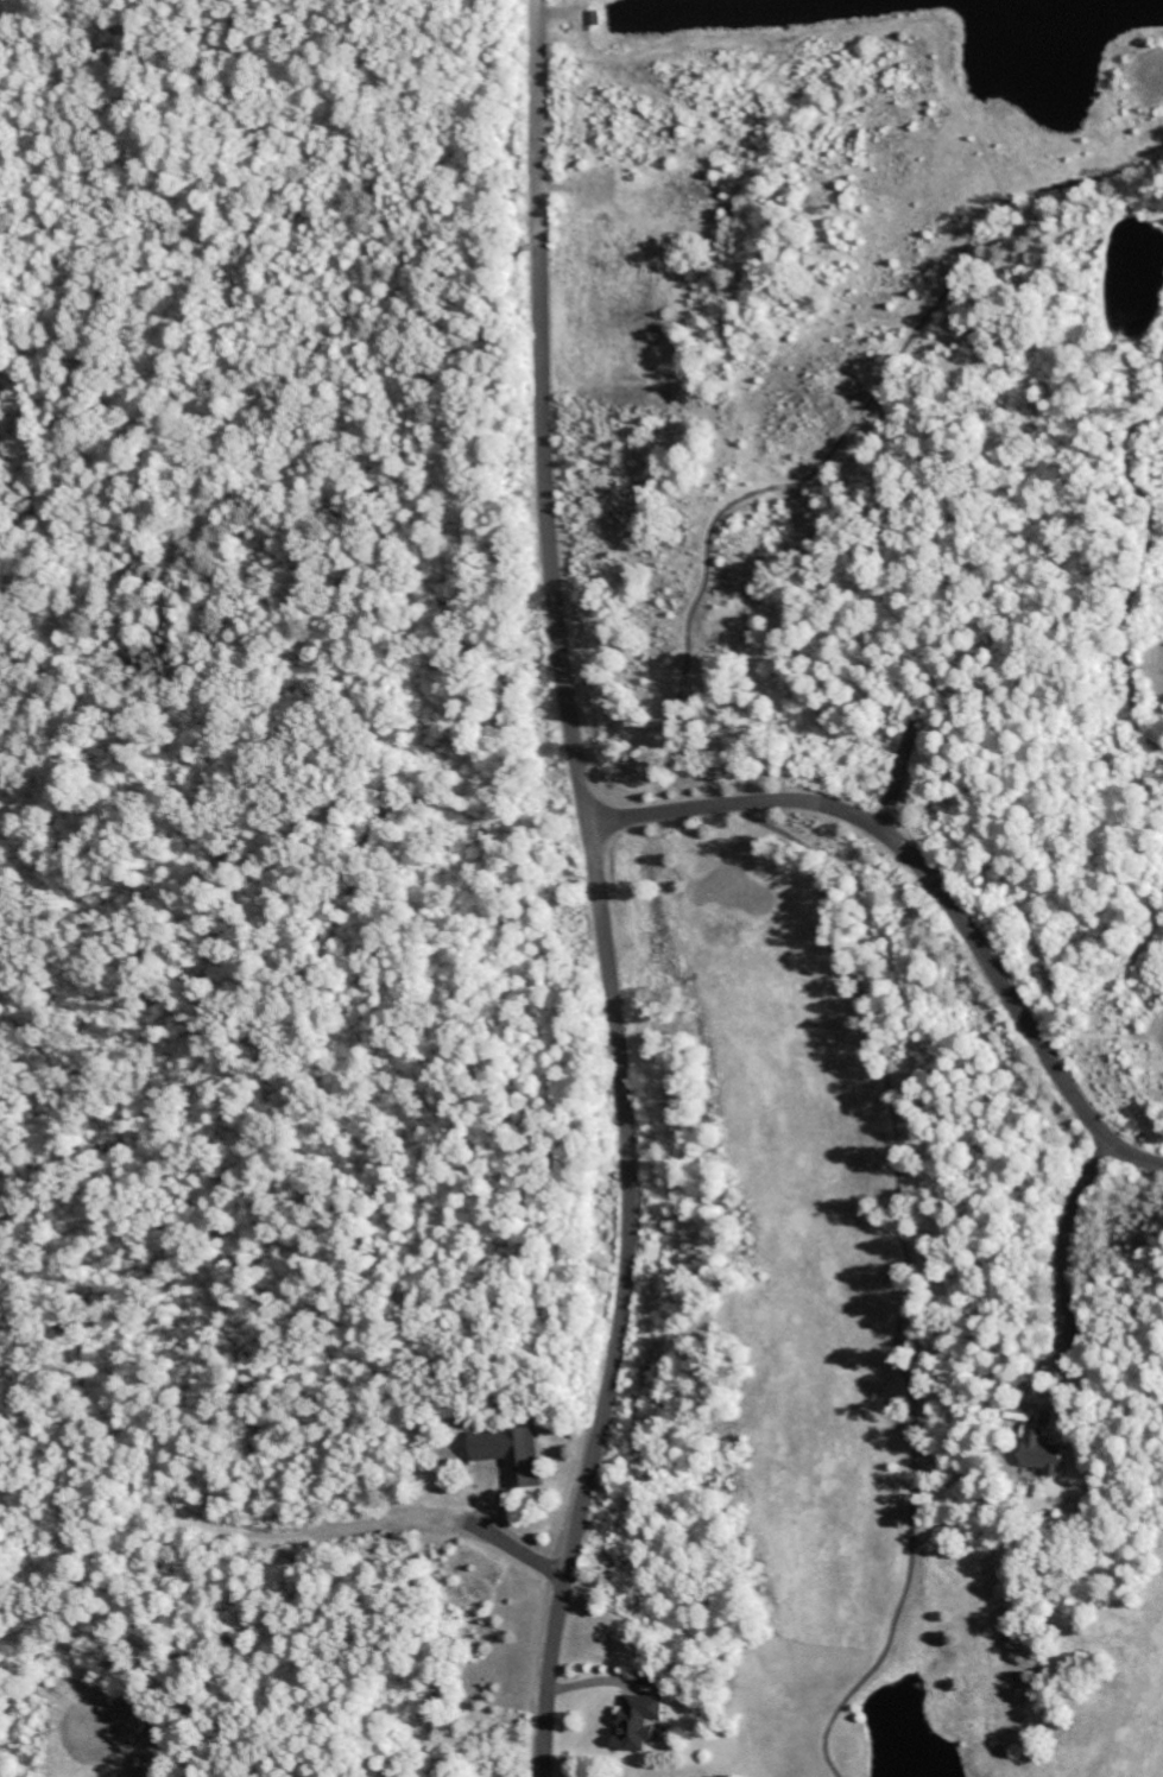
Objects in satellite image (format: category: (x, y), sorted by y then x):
road: (929, 881)
road: (595, 891)
road: (1064, 1237)
building: (1039, 1452)
building: (508, 1453)
road: (517, 1549)
building: (637, 1721)

